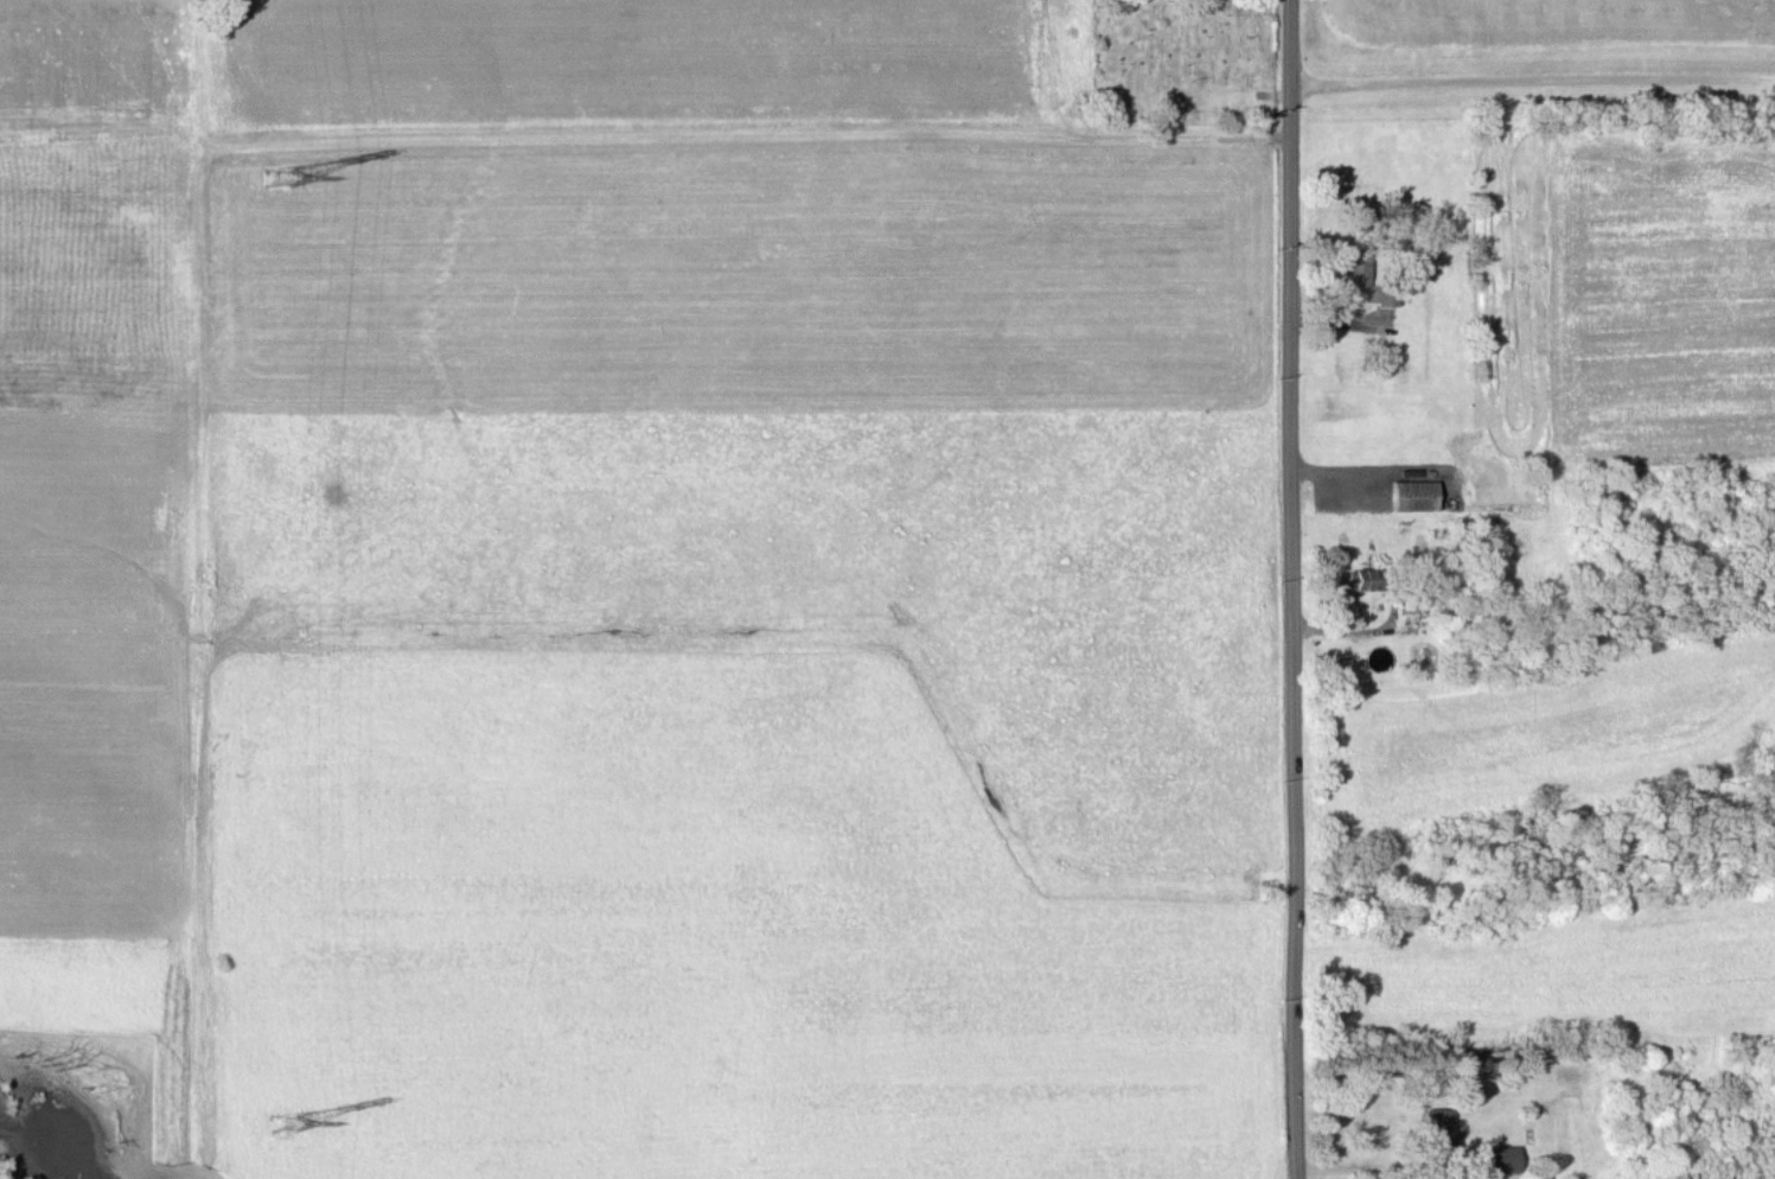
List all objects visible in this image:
road: (1533, 78)
power tower: (277, 177)
building: (1362, 279)
building: (1359, 578)
road: (1297, 589)
power tower: (283, 1123)
building: (1436, 1127)
building: (1496, 1158)
road: (1385, 1166)

